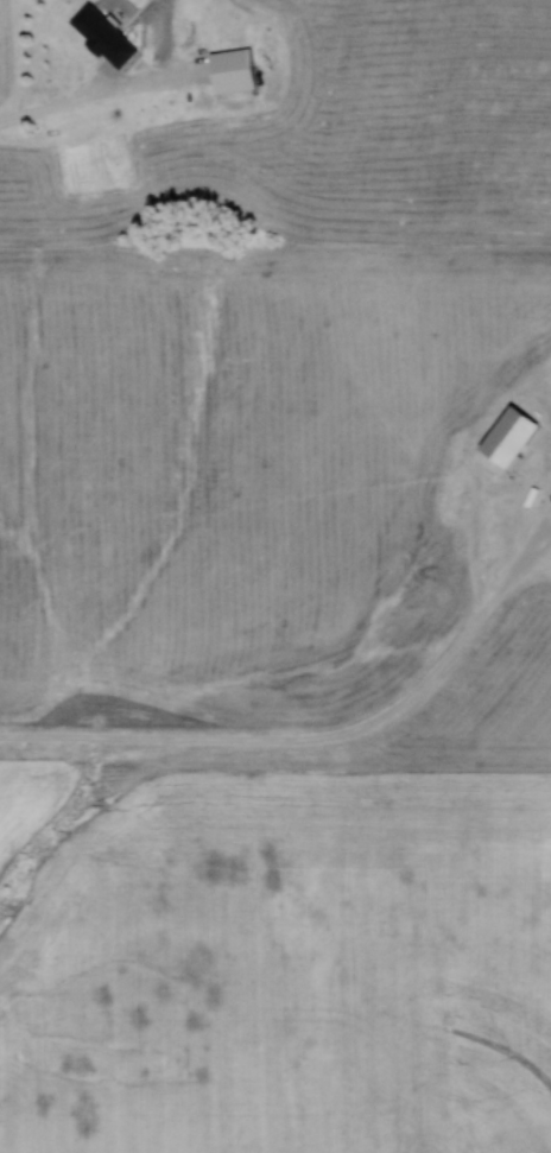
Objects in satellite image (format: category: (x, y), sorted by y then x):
building: (101, 36)
building: (229, 72)
road: (75, 104)
road: (318, 739)

